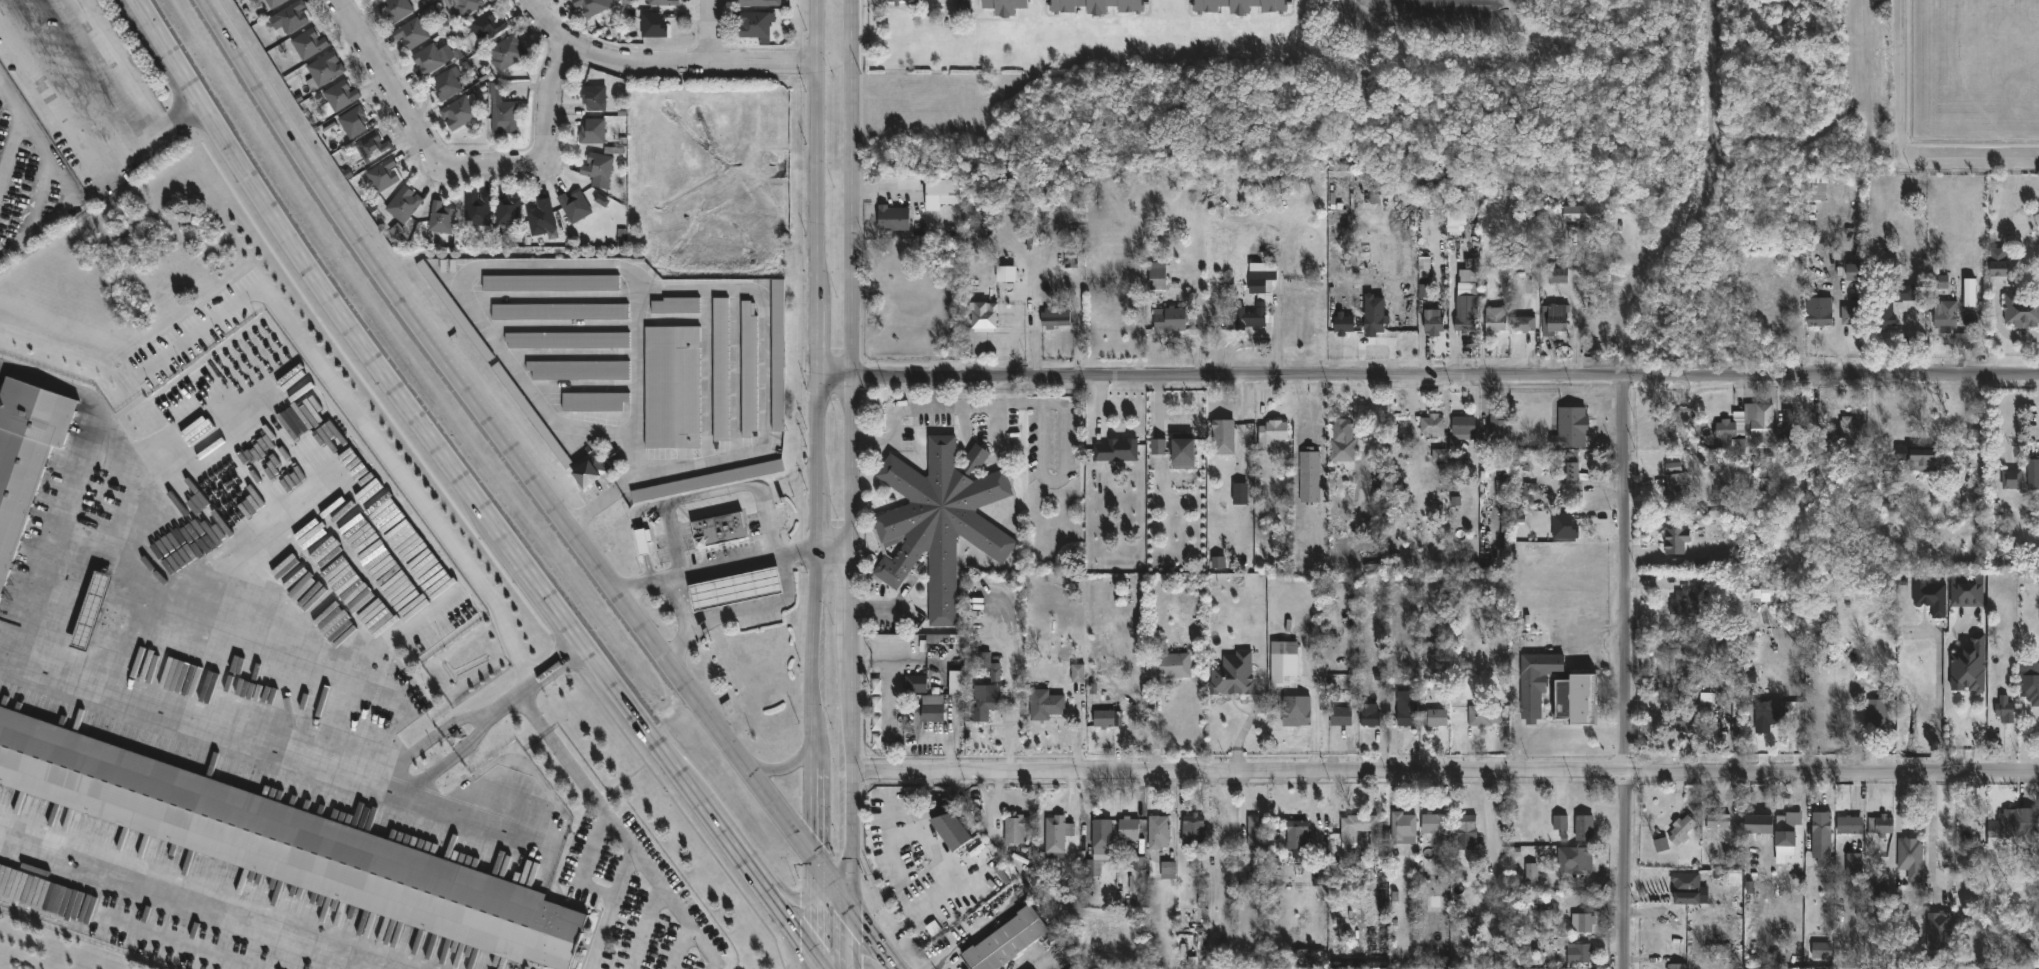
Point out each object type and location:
building: (375, 0)
building: (663, 2)
building: (760, 2)
building: (897, 2)
building: (273, 3)
road: (951, 5)
building: (1098, 5)
building: (1242, 5)
building: (466, 6)
building: (592, 6)
building: (1006, 6)
building: (398, 9)
building: (290, 16)
building: (653, 24)
building: (487, 25)
building: (754, 25)
building: (411, 32)
road: (711, 32)
road: (228, 36)
building: (308, 43)
road: (176, 51)
building: (506, 52)
road: (666, 58)
building: (427, 60)
building: (325, 68)
road: (105, 69)
road: (1900, 78)
building: (447, 84)
building: (340, 95)
building: (593, 96)
building: (458, 112)
building: (504, 116)
building: (352, 121)
building: (593, 130)
building: (371, 146)
road: (85, 157)
road: (1970, 157)
road: (463, 162)
building: (598, 165)
building: (382, 175)
road: (62, 183)
building: (942, 192)
building: (403, 203)
building: (575, 205)
building: (477, 209)
building: (508, 211)
building: (541, 217)
building: (893, 217)
building: (439, 220)
building: (1554, 238)
building: (1999, 270)
building: (1857, 271)
building: (1558, 273)
building: (1158, 275)
building: (1260, 276)
building: (550, 283)
road: (642, 289)
building: (1972, 292)
building: (1763, 297)
building: (1887, 305)
building: (675, 306)
building: (2022, 311)
building: (455, 312)
building: (559, 312)
building: (1819, 312)
road: (1577, 313)
building: (1853, 315)
building: (1947, 315)
building: (984, 316)
building: (1251, 316)
building: (1049, 317)
building: (1170, 318)
building: (1555, 318)
building: (1496, 319)
building: (1434, 320)
building: (1464, 320)
building: (1375, 323)
building: (1524, 324)
road: (1201, 326)
building: (1343, 326)
road: (1999, 326)
road: (1279, 336)
road: (1235, 340)
building: (1966, 340)
building: (566, 341)
road: (1908, 342)
building: (777, 356)
road: (635, 364)
building: (720, 370)
building: (578, 371)
building: (748, 371)
road: (1430, 381)
building: (672, 388)
building: (593, 403)
road: (923, 408)
building: (531, 416)
building: (1759, 424)
building: (1432, 425)
building: (1791, 425)
building: (1465, 426)
building: (1571, 428)
building: (1726, 430)
building: (1497, 431)
road: (821, 433)
building: (1272, 434)
building: (1851, 435)
building: (1223, 436)
building: (1343, 441)
building: (1178, 449)
building: (1117, 450)
building: (24, 453)
road: (853, 454)
building: (1440, 456)
building: (1927, 458)
building: (1826, 459)
building: (1571, 468)
building: (589, 471)
building: (2033, 472)
road: (529, 473)
building: (1310, 476)
building: (2013, 479)
building: (707, 482)
building: (1676, 487)
road: (710, 491)
building: (940, 520)
building: (1564, 526)
building: (718, 529)
road: (511, 539)
building: (642, 539)
building: (1677, 541)
road: (733, 565)
building: (735, 587)
gas station: (735, 587)
building: (1967, 590)
building: (1931, 596)
building: (1686, 602)
road: (680, 603)
road: (875, 608)
building: (88, 612)
road: (739, 612)
building: (944, 638)
building: (1968, 664)
building: (1168, 666)
building: (1684, 670)
road: (1622, 673)
building: (1233, 675)
building: (1537, 681)
building: (2030, 681)
road: (536, 683)
building: (957, 683)
building: (915, 684)
building: (1579, 698)
building: (984, 704)
building: (1046, 705)
building: (1408, 708)
building: (2005, 709)
building: (1879, 711)
road: (674, 713)
building: (933, 714)
building: (1340, 714)
building: (1770, 714)
building: (876, 715)
building: (1295, 715)
building: (1370, 715)
building: (1484, 715)
building: (1435, 718)
building: (1110, 719)
road: (1250, 719)
building: (1686, 721)
road: (792, 762)
road: (1444, 777)
road: (396, 783)
road: (948, 794)
building: (1719, 820)
building: (948, 822)
building: (1435, 823)
building: (1560, 823)
building: (1762, 823)
building: (1851, 823)
building: (2014, 823)
building: (1882, 824)
building: (1129, 826)
building: (1465, 826)
building: (1404, 827)
building: (1585, 827)
building: (1823, 827)
road: (616, 828)
building: (1016, 828)
building: (1363, 828)
building: (1789, 828)
building: (1157, 829)
building: (1194, 829)
building: (1682, 829)
building: (1058, 832)
building: (1103, 832)
building: (1257, 832)
building: (1297, 833)
building: (285, 842)
building: (1912, 856)
building: (1581, 857)
road: (587, 862)
building: (1855, 863)
traffic signals: (817, 866)
building: (1090, 867)
road: (953, 868)
building: (1165, 869)
building: (1139, 873)
building: (1686, 887)
road: (793, 897)
parking lot: (630, 902)
traffic signals: (850, 908)
road: (612, 909)
road: (818, 912)
road: (856, 916)
building: (1580, 920)
road: (646, 927)
building: (1940, 930)
road: (969, 937)
road: (850, 938)
building: (1007, 940)
building: (1823, 949)
building: (1579, 952)
traffic signals: (819, 959)
road: (850, 959)
road: (716, 964)
road: (819, 964)
parking lot: (530, 968)
building: (1758, 968)

